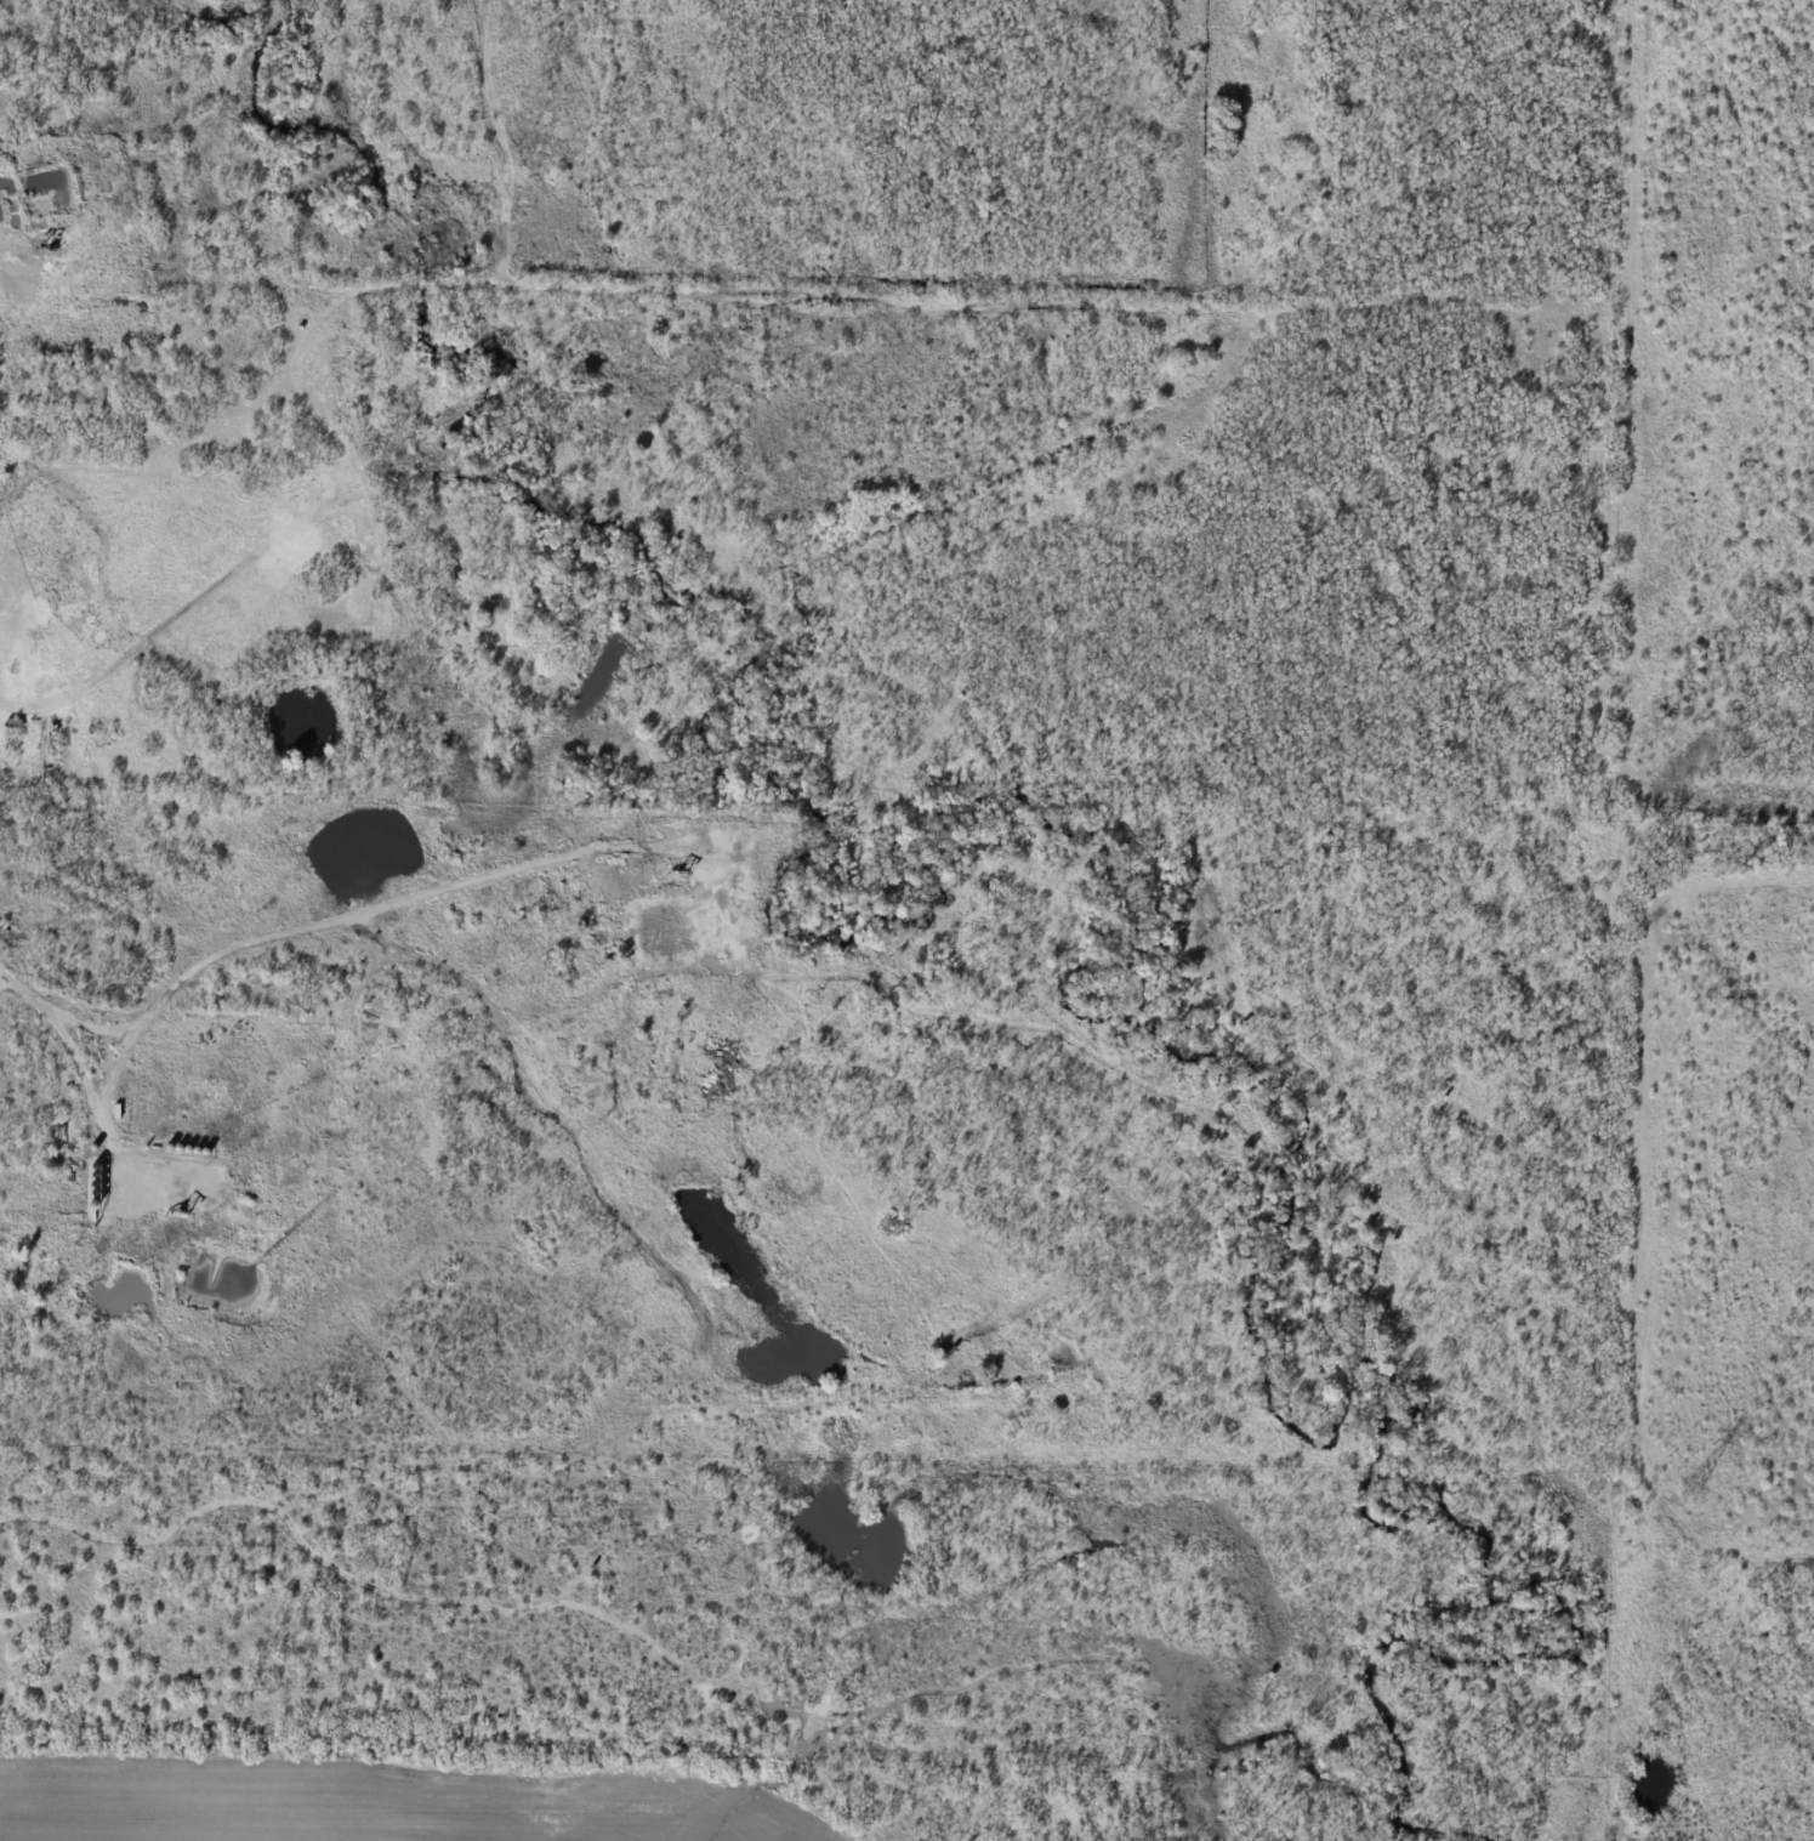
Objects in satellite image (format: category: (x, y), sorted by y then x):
building: (62, 1149)

